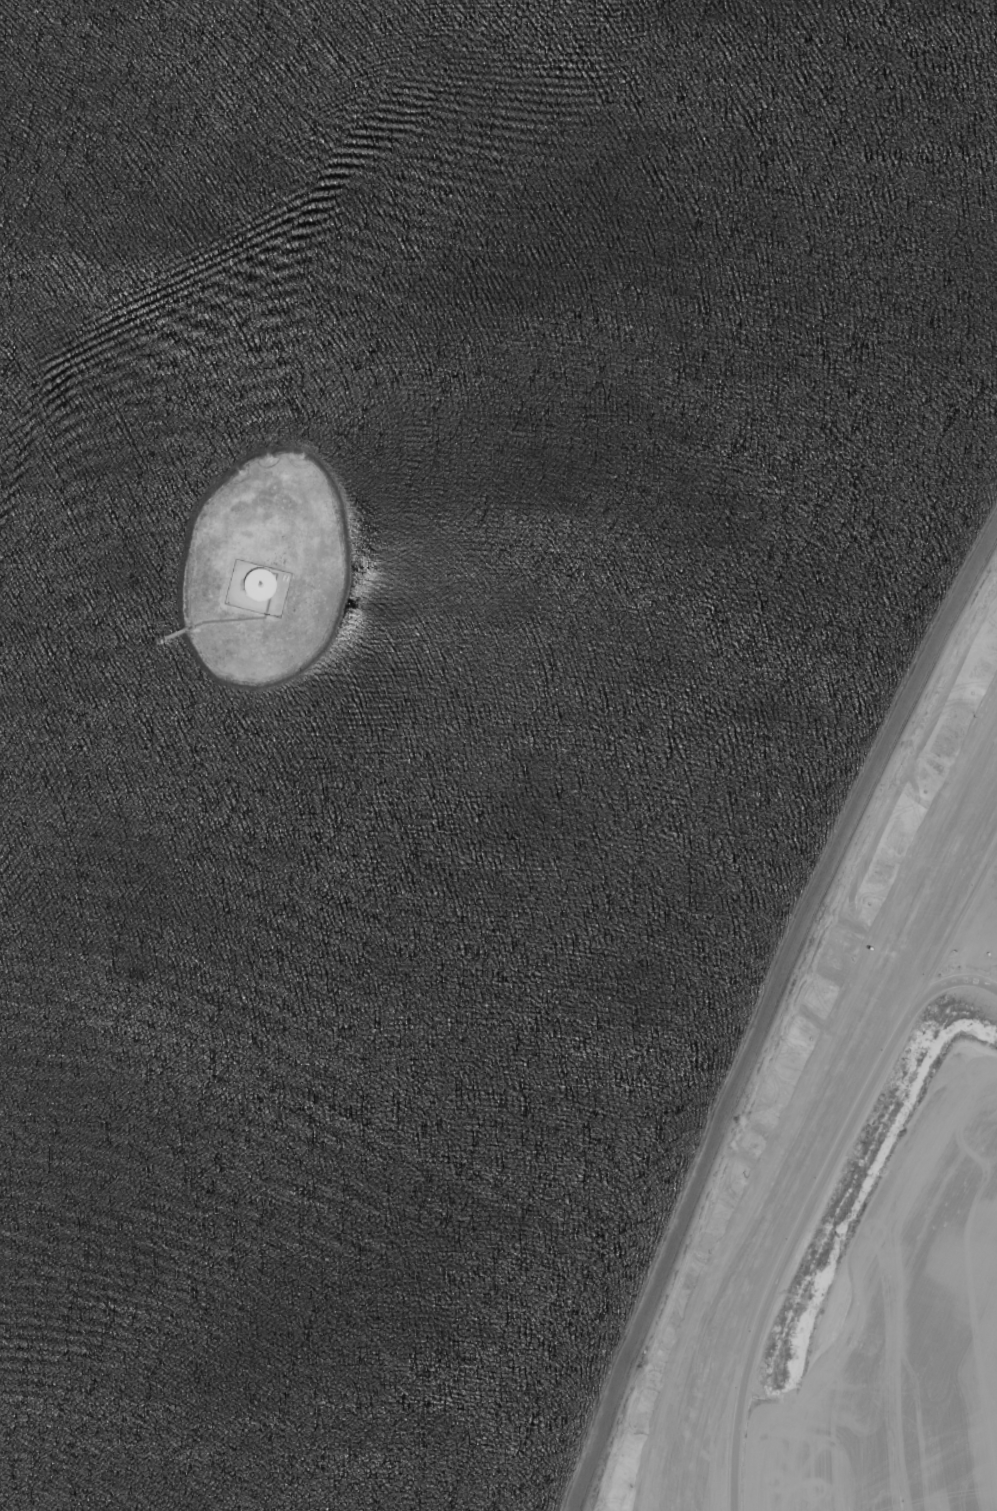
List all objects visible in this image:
pier: (170, 636)
road: (956, 922)
road: (955, 979)
park: (850, 1179)
road: (792, 1245)

